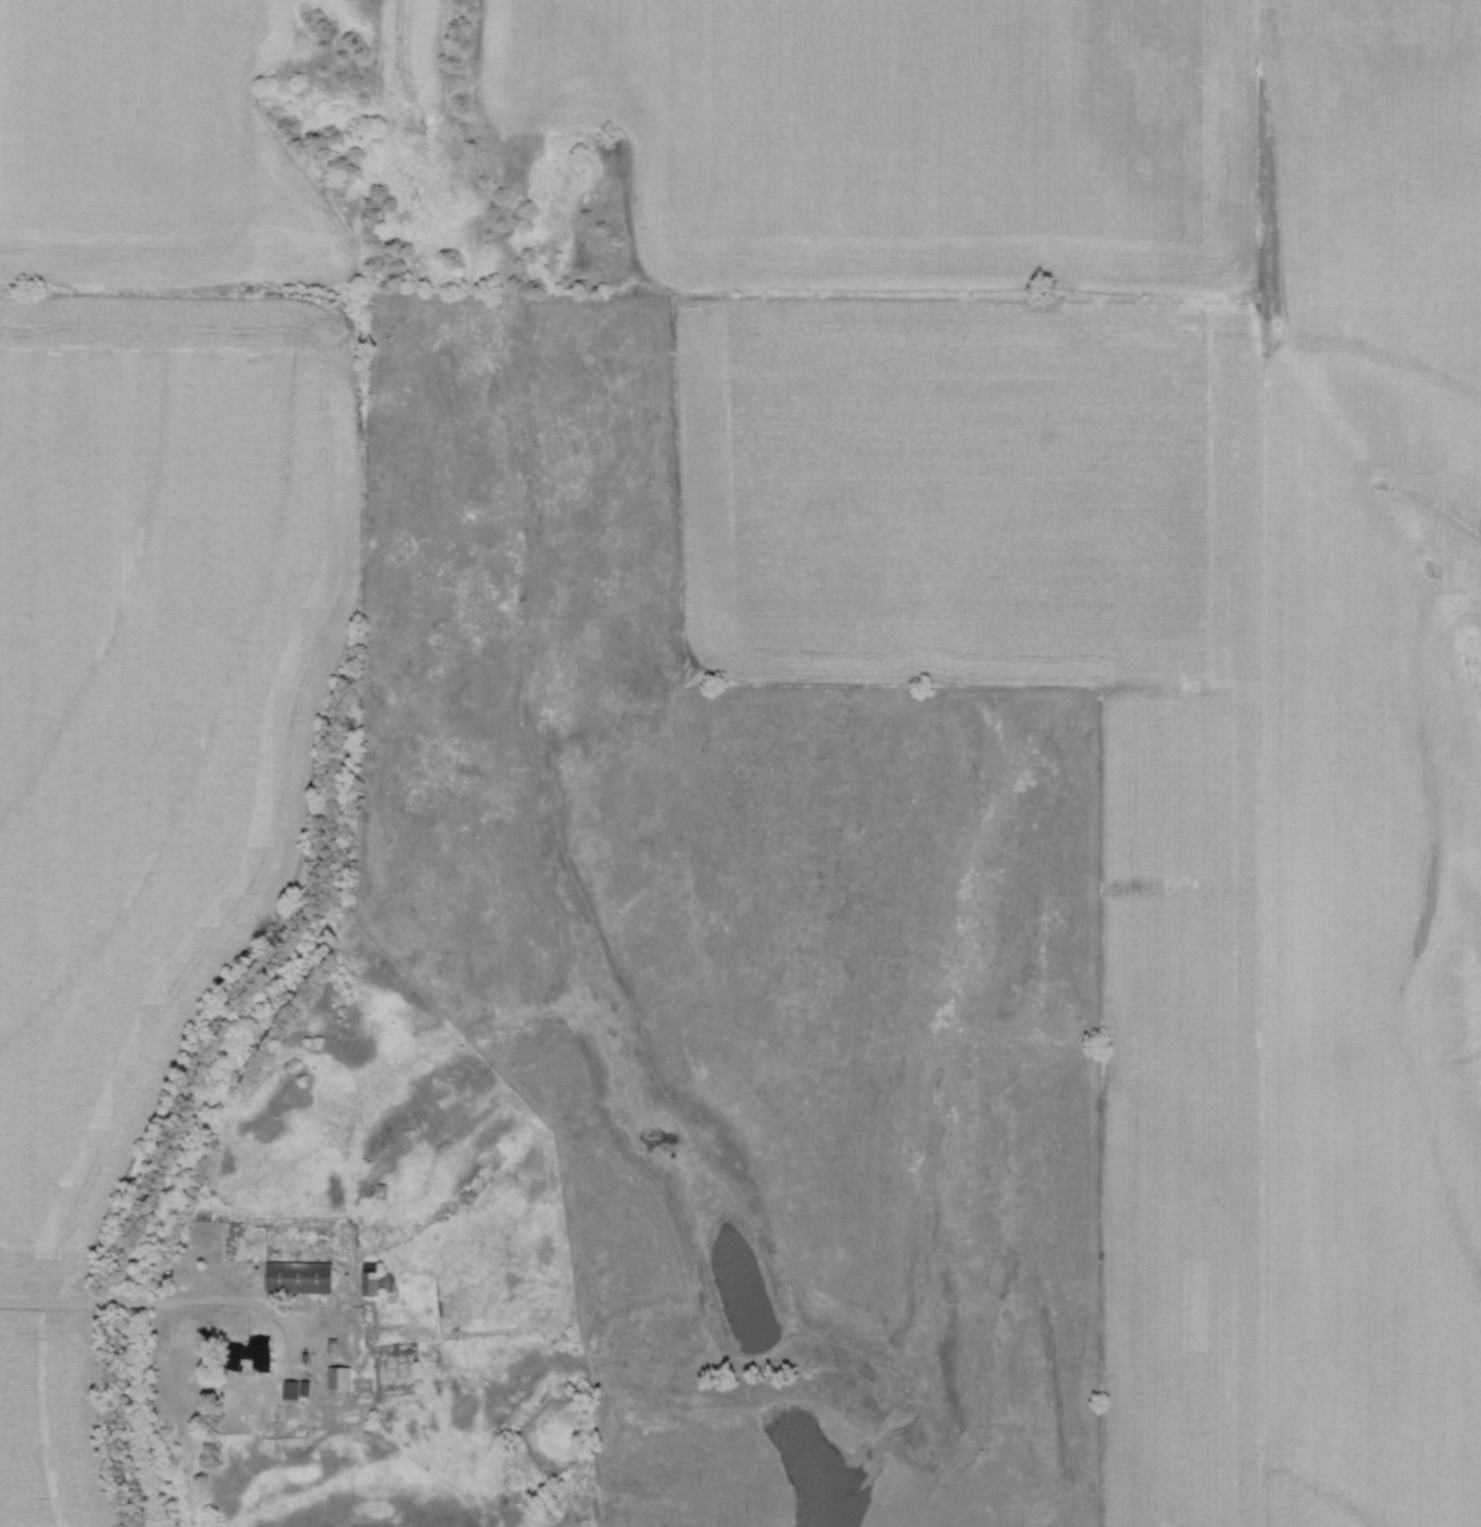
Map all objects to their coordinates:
road: (177, 277)
building: (302, 1277)
building: (382, 1283)
road: (166, 1302)
building: (398, 1350)
building: (254, 1354)
building: (342, 1378)
building: (293, 1388)

